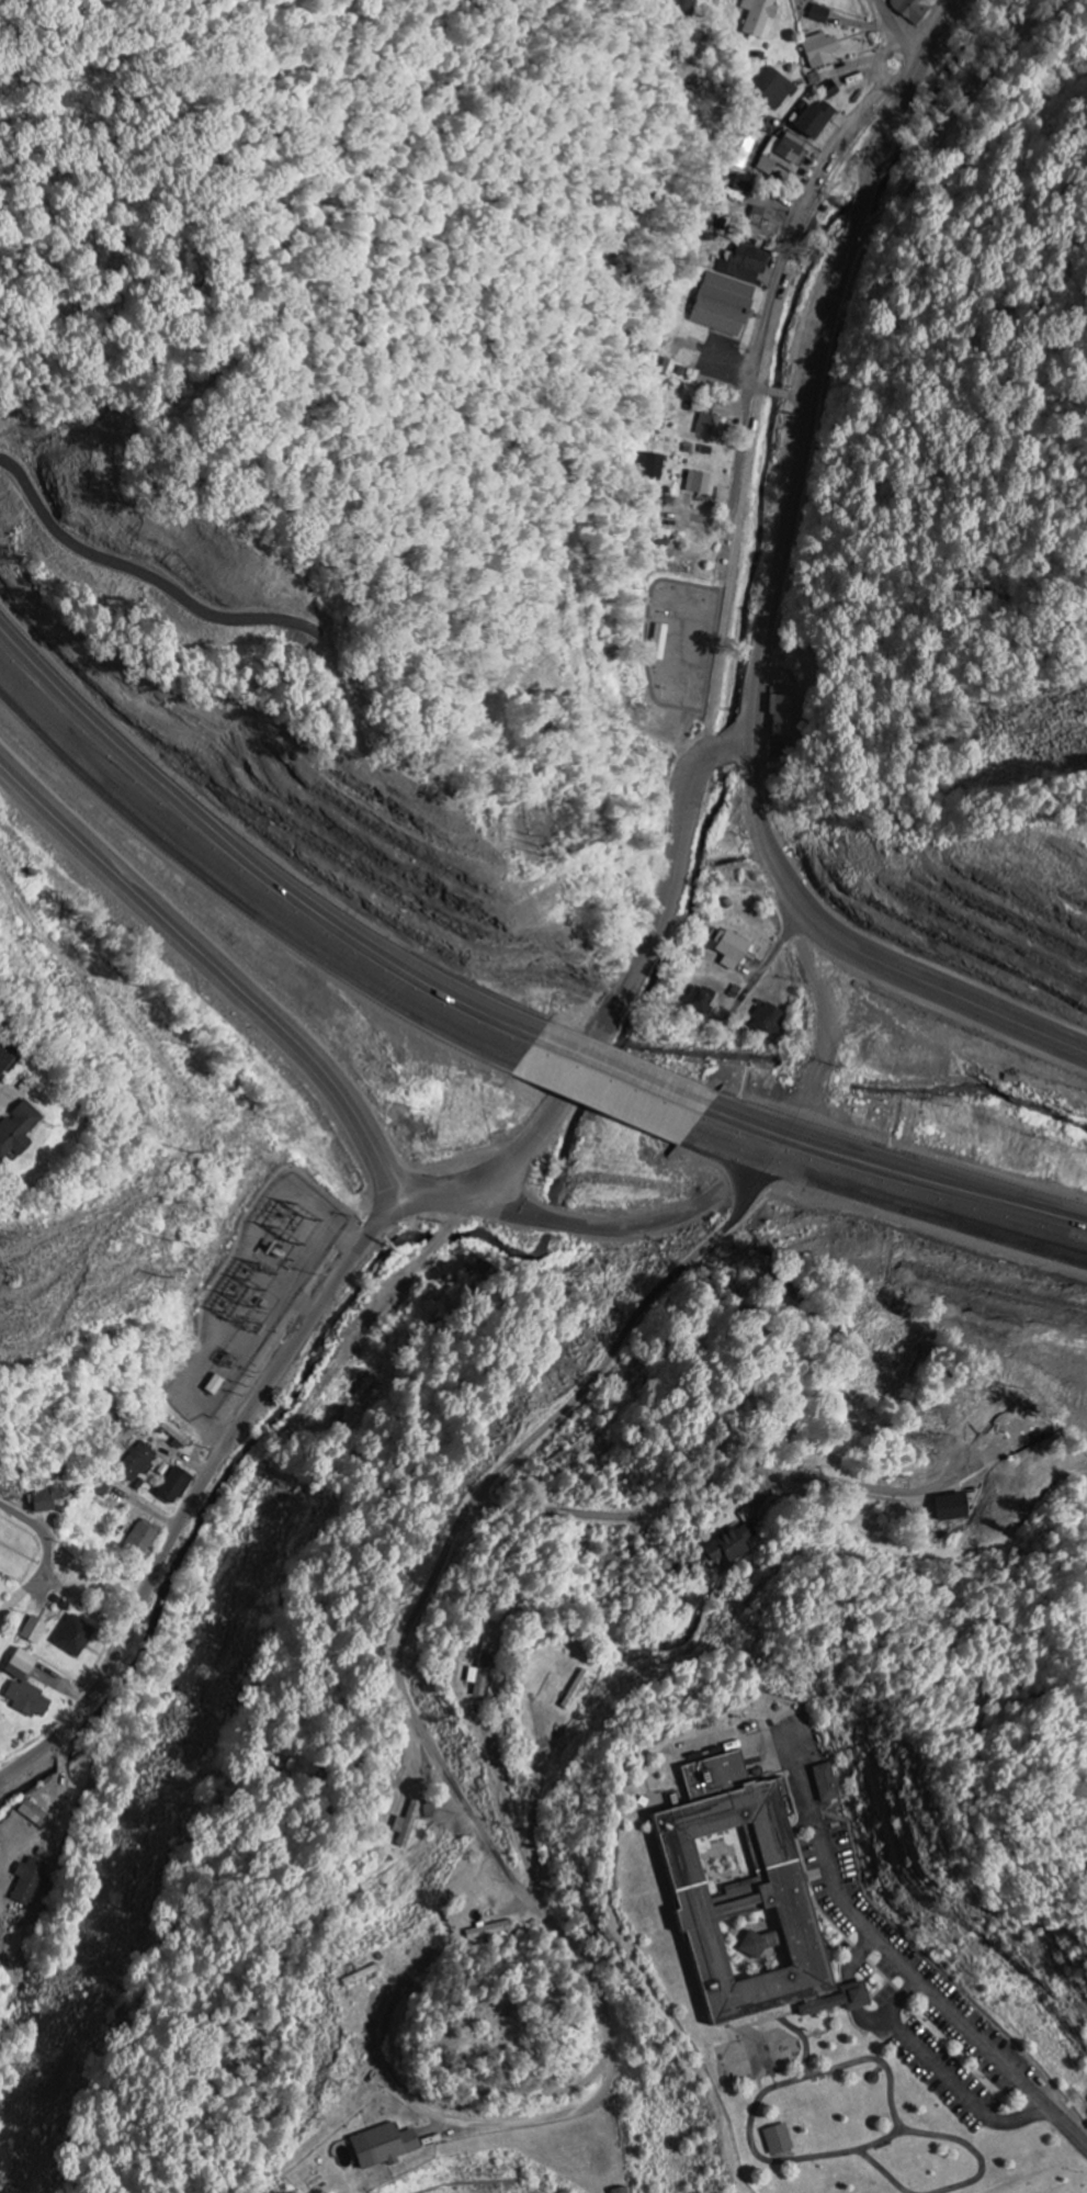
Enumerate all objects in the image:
building: (817, 1)
building: (679, 7)
building: (914, 10)
building: (818, 15)
building: (760, 19)
road: (897, 31)
building: (819, 52)
building: (772, 89)
building: (829, 91)
road: (954, 113)
building: (812, 121)
building: (784, 156)
building: (762, 226)
building: (745, 266)
road: (777, 277)
building: (723, 305)
road: (781, 392)
building: (710, 427)
building: (650, 466)
building: (700, 483)
road: (766, 637)
building: (781, 710)
power tower: (541, 848)
road: (244, 881)
building: (729, 948)
road: (861, 953)
road: (216, 970)
building: (700, 1000)
building: (768, 1021)
building: (4, 1061)
road: (612, 1084)
building: (16, 1131)
power tower: (188, 1151)
road: (799, 1154)
road: (994, 1207)
power tower: (274, 1210)
power substation: (259, 1293)
building: (214, 1386)
building: (177, 1435)
road: (220, 1455)
building: (137, 1463)
road: (778, 1471)
building: (173, 1487)
building: (46, 1502)
building: (953, 1508)
building: (140, 1539)
building: (731, 1545)
road: (442, 1556)
road: (50, 1575)
building: (33, 1631)
building: (72, 1637)
building: (480, 1673)
building: (24, 1688)
building: (576, 1691)
building: (826, 1785)
building: (33, 1815)
building: (407, 1826)
building: (29, 1882)
building: (744, 1897)
road: (1012, 2072)
building: (778, 2140)
building: (382, 2148)
building: (621, 2191)

